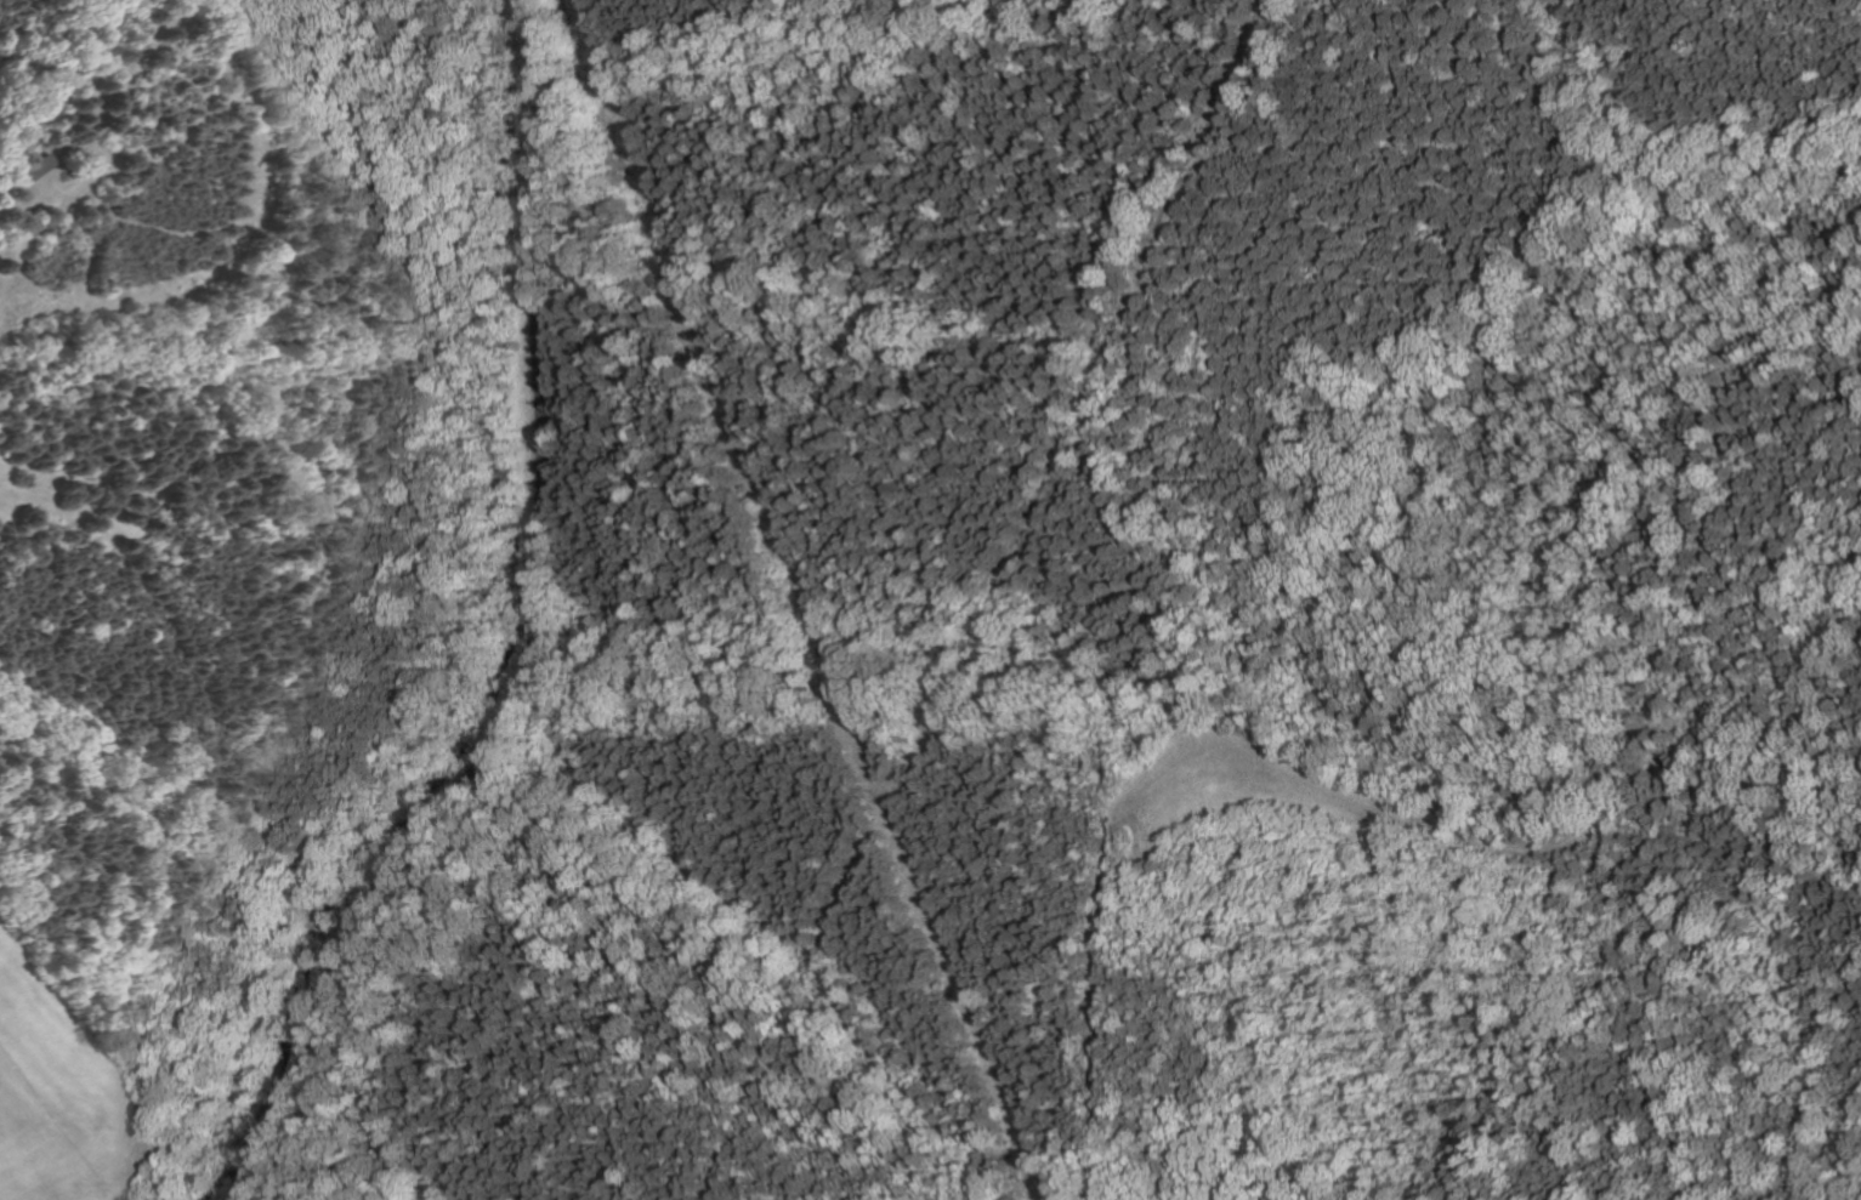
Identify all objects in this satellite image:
building: (33, 165)
road: (4, 211)
road: (53, 514)
road: (528, 636)
road: (214, 729)
road: (1310, 777)
road: (316, 925)
road: (329, 943)

